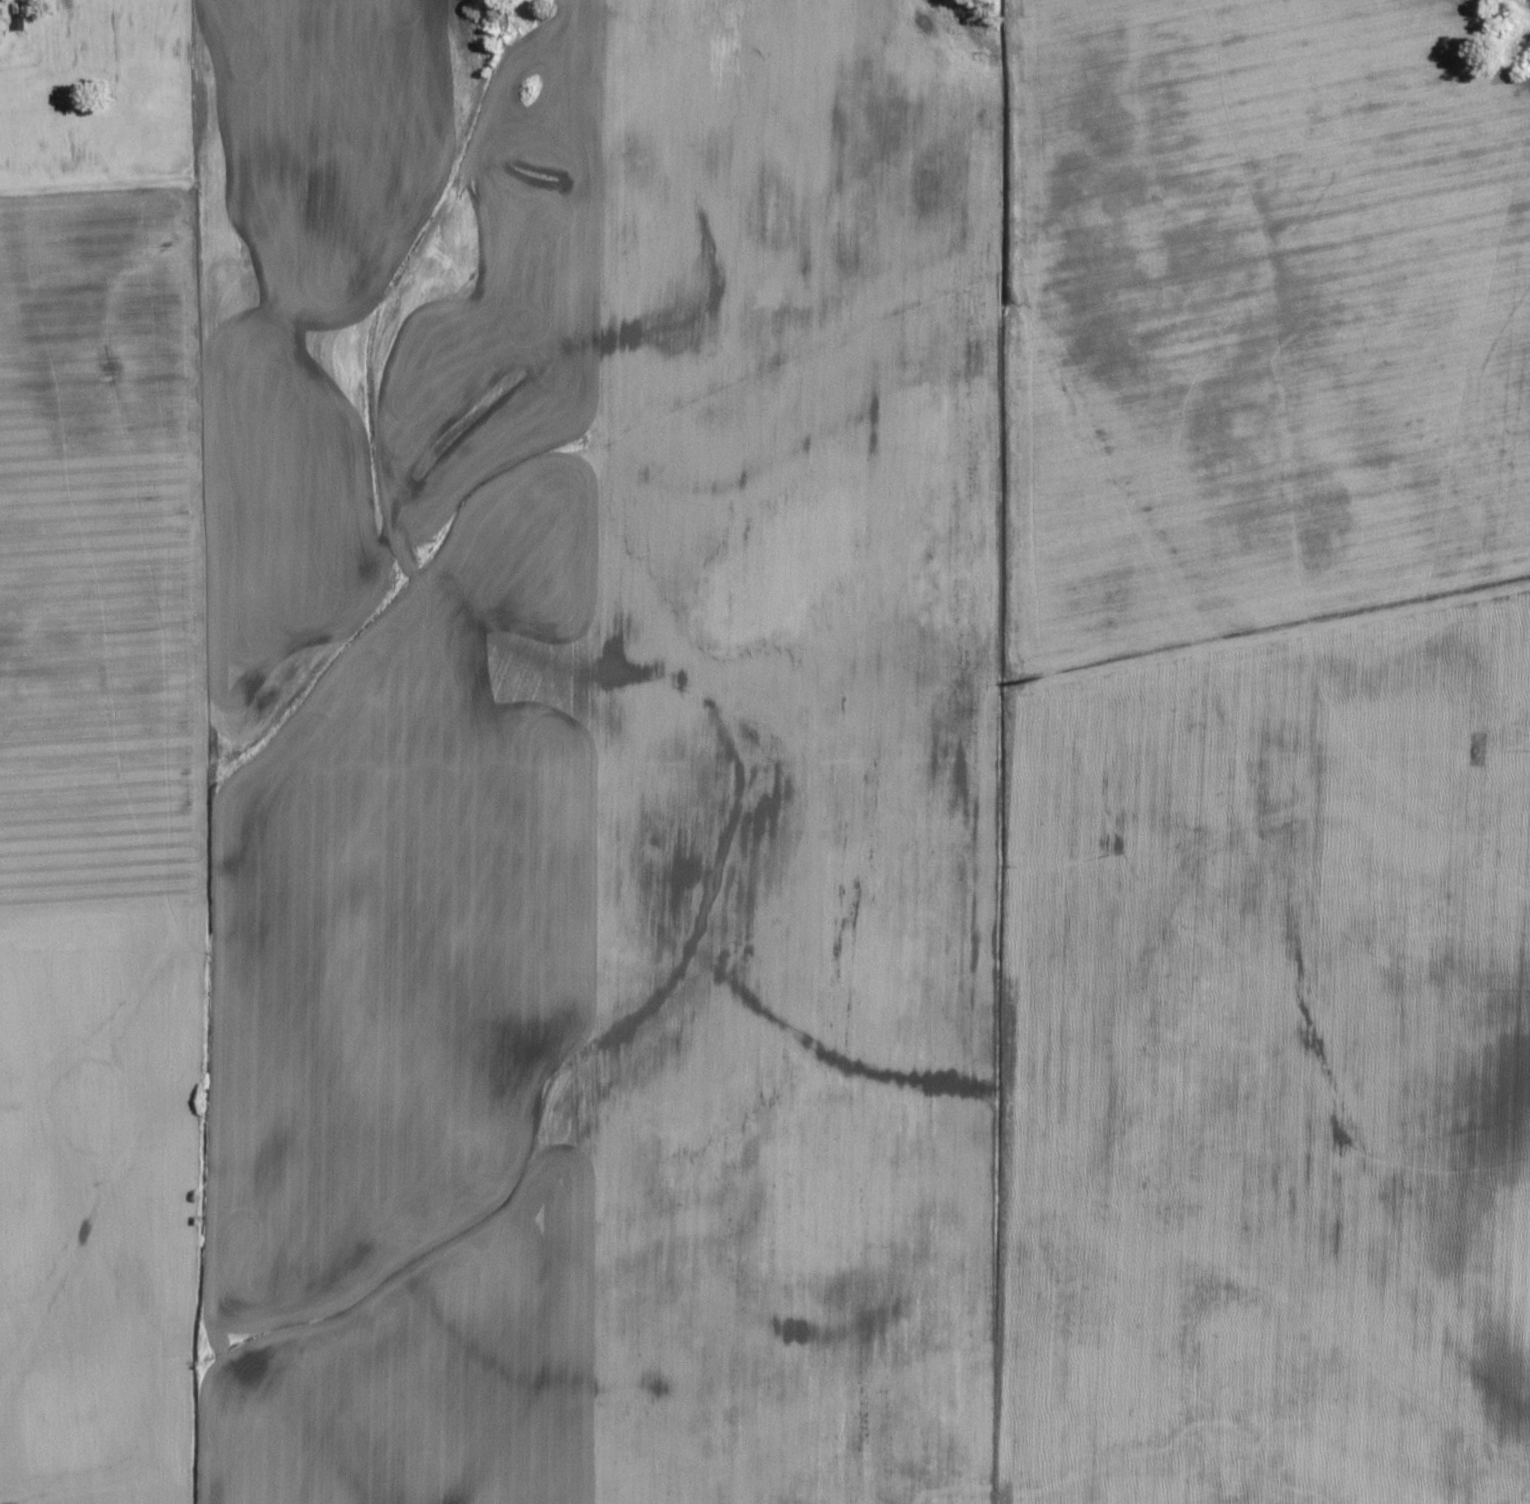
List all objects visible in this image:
building: (0, 1)
road: (14, 10)
road: (1274, 636)

